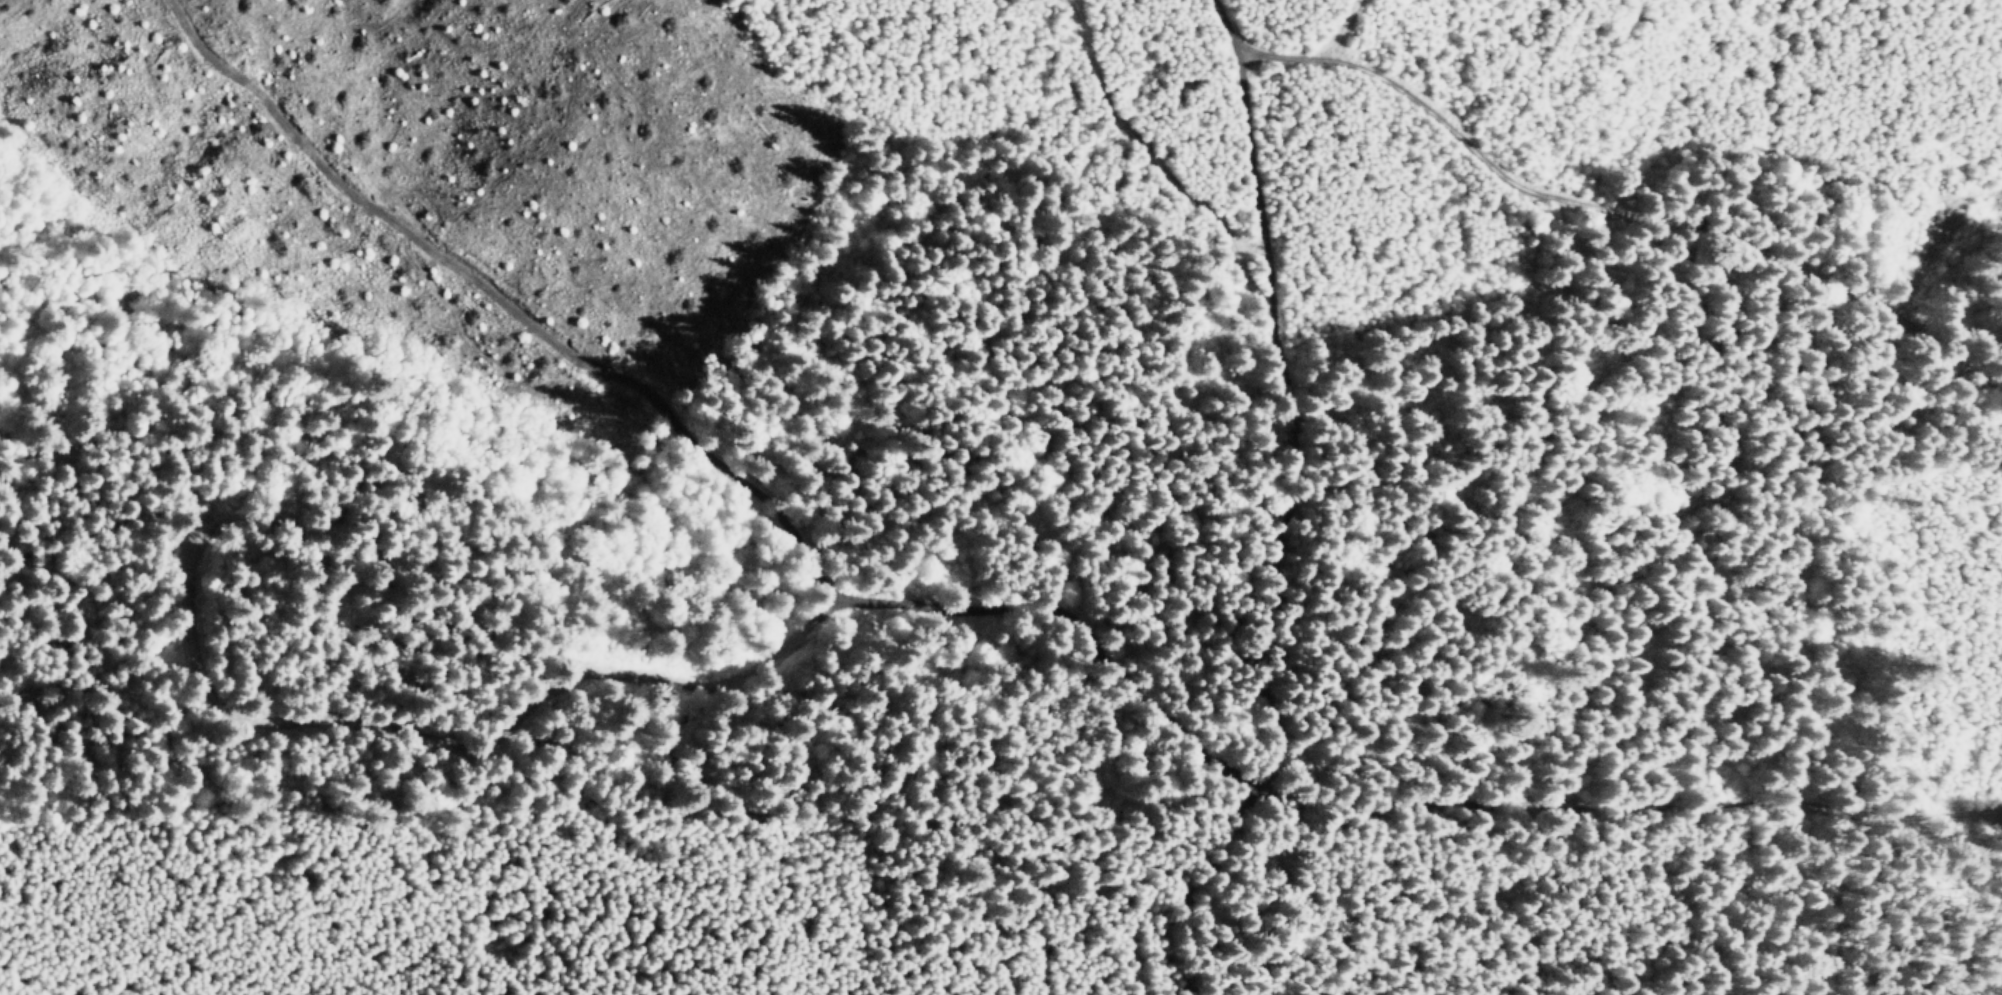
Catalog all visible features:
road: (1153, 165)
road: (1616, 218)
road: (1307, 509)
road: (849, 593)
road: (1640, 820)
road: (614, 855)
road: (1995, 981)

